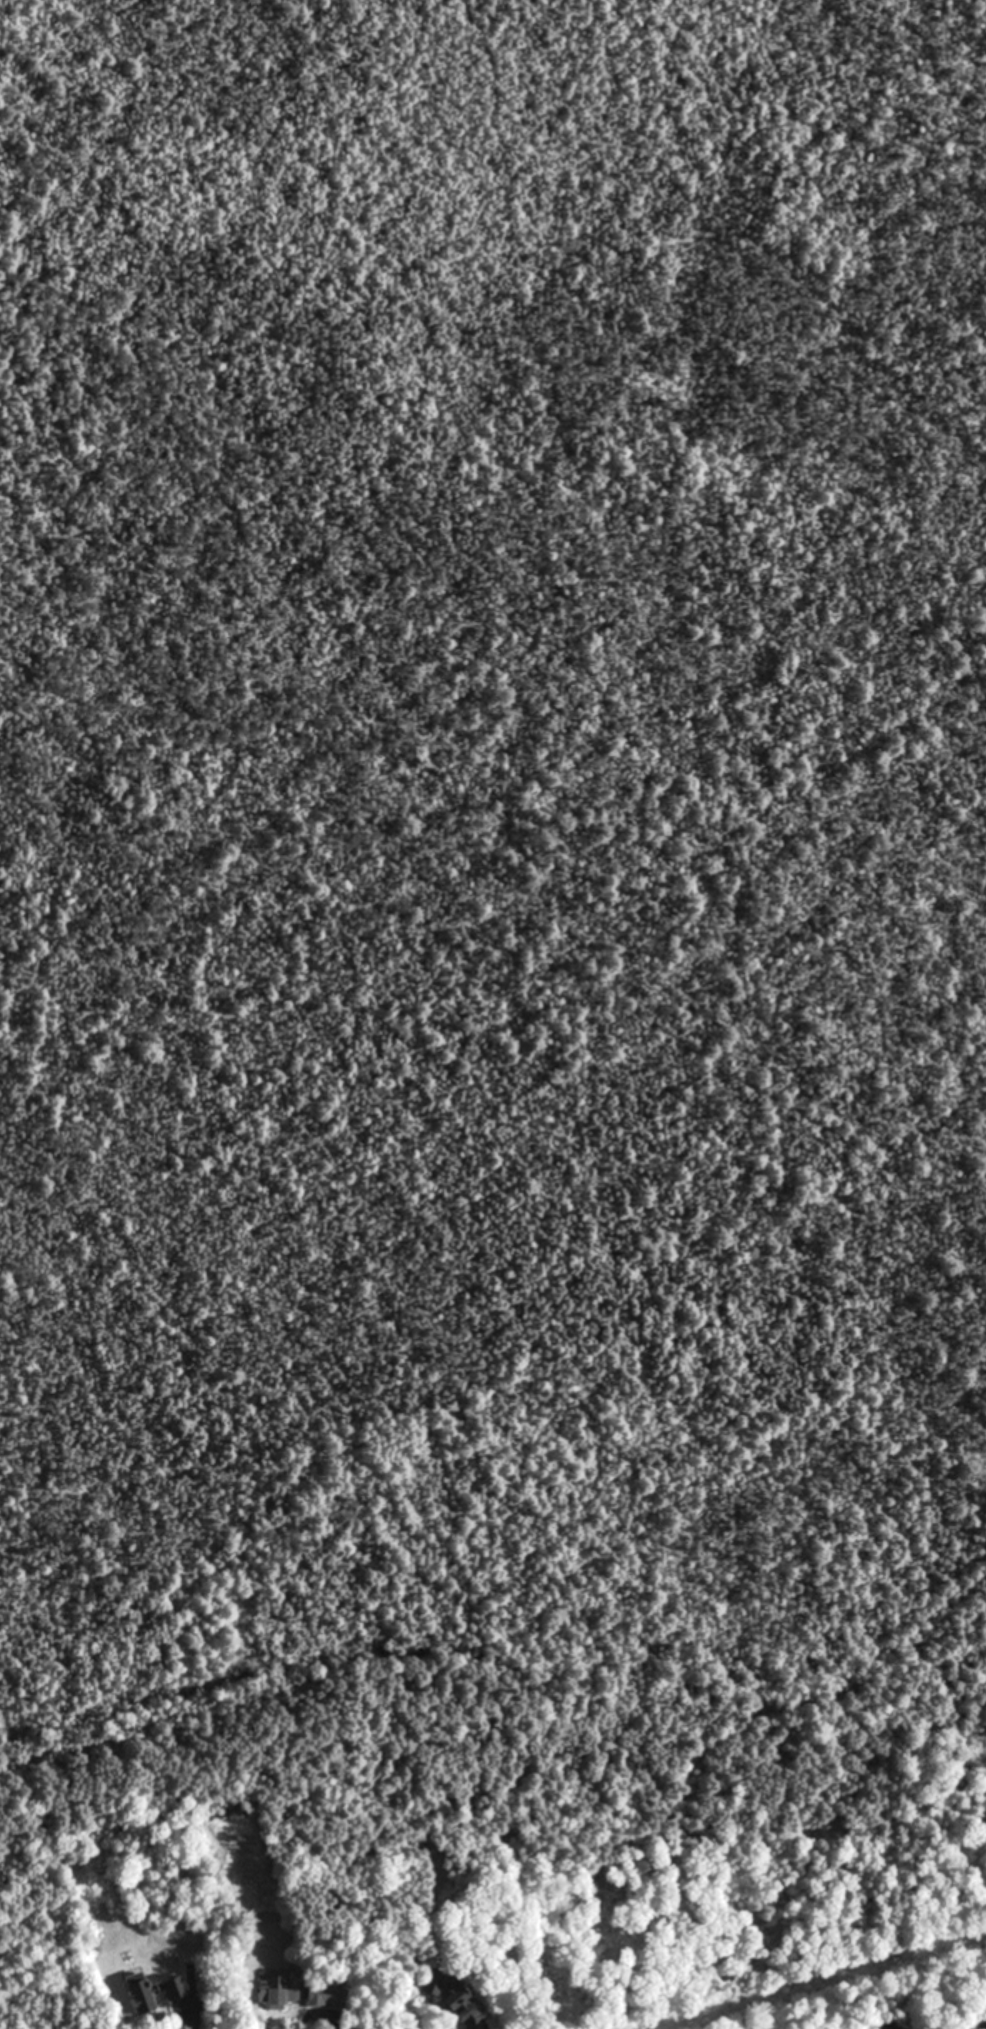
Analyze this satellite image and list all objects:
building: (149, 1991)
building: (295, 1993)
building: (461, 2013)
road: (316, 2017)
road: (191, 2026)

